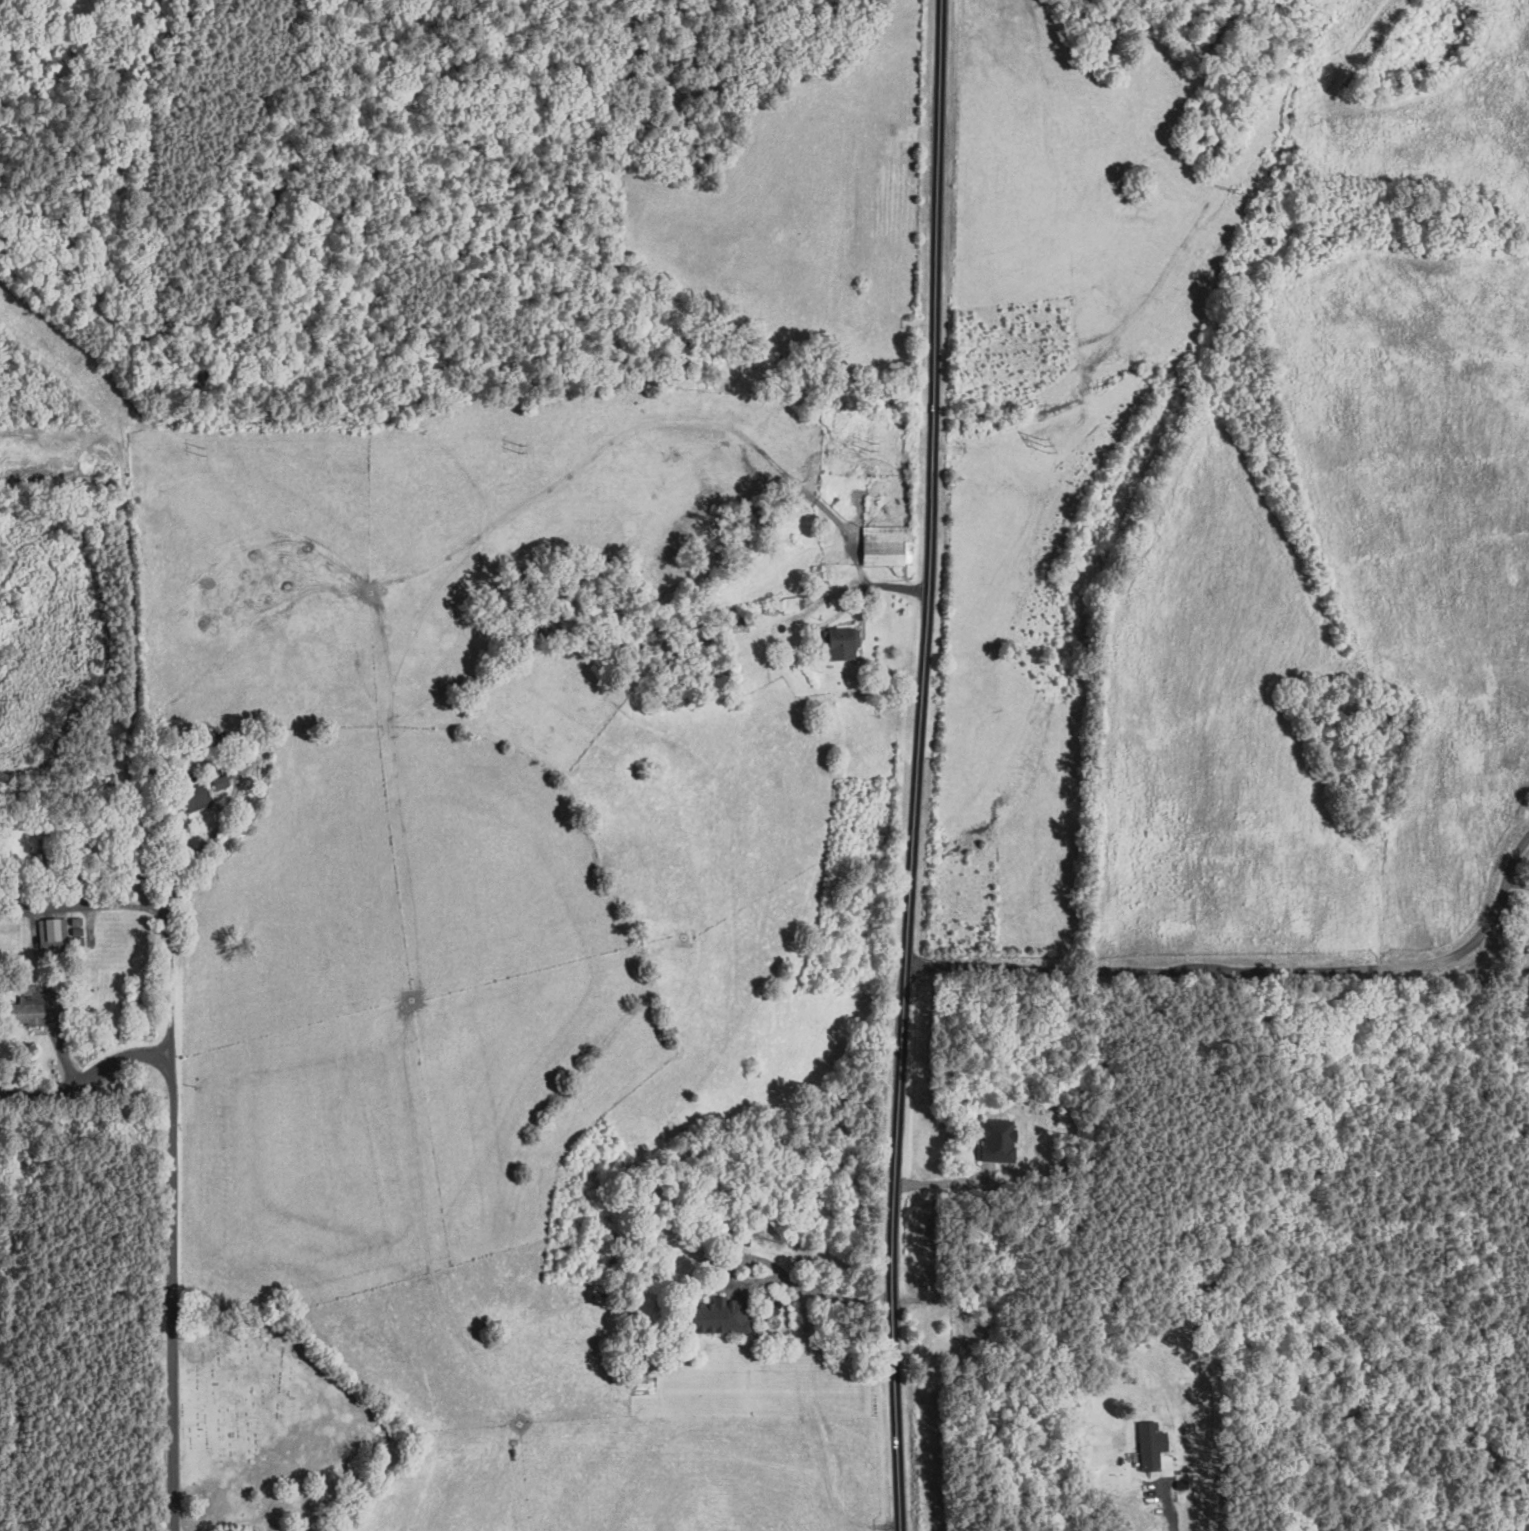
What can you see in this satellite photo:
building: (890, 547)
building: (844, 643)
building: (241, 740)
road: (910, 765)
building: (223, 782)
building: (198, 796)
road: (211, 837)
road: (155, 908)
road: (1248, 966)
building: (34, 1009)
building: (1001, 1139)
road: (172, 1202)
road: (769, 1279)
building: (726, 1314)
building: (1154, 1444)
road: (1180, 1508)
road: (244, 1529)

